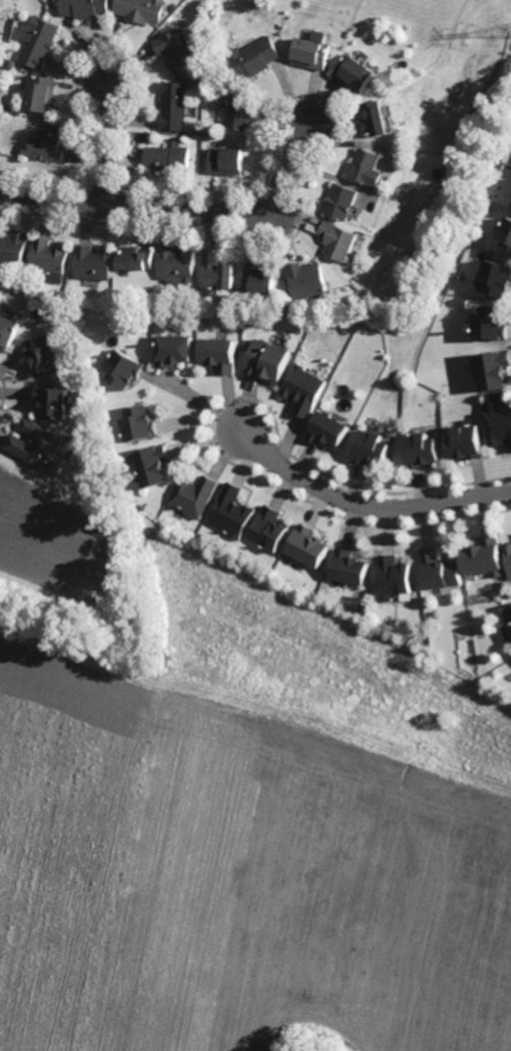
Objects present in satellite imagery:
building: (173, 5)
building: (85, 9)
building: (140, 10)
building: (190, 34)
building: (40, 41)
building: (174, 48)
building: (310, 52)
building: (252, 57)
building: (355, 72)
building: (42, 91)
building: (174, 104)
building: (239, 111)
building: (375, 117)
building: (50, 142)
road: (108, 143)
building: (204, 151)
building: (167, 158)
building: (226, 160)
building: (366, 164)
building: (343, 200)
road: (174, 210)
building: (507, 234)
building: (340, 239)
building: (13, 250)
building: (49, 255)
building: (133, 258)
building: (91, 262)
building: (176, 264)
building: (217, 271)
building: (471, 275)
building: (497, 277)
building: (308, 279)
building: (259, 283)
building: (120, 310)
building: (491, 323)
building: (9, 329)
building: (174, 349)
building: (219, 353)
building: (47, 354)
building: (268, 360)
building: (123, 368)
building: (495, 370)
building: (305, 388)
road: (197, 399)
building: (55, 402)
building: (137, 423)
building: (498, 427)
building: (329, 430)
building: (38, 443)
building: (467, 443)
building: (373, 448)
building: (423, 449)
building: (152, 465)
building: (193, 495)
road: (367, 503)
building: (232, 512)
building: (269, 528)
building: (309, 546)
building: (484, 556)
building: (508, 558)
building: (349, 566)
building: (442, 571)
building: (396, 576)
building: (509, 623)

